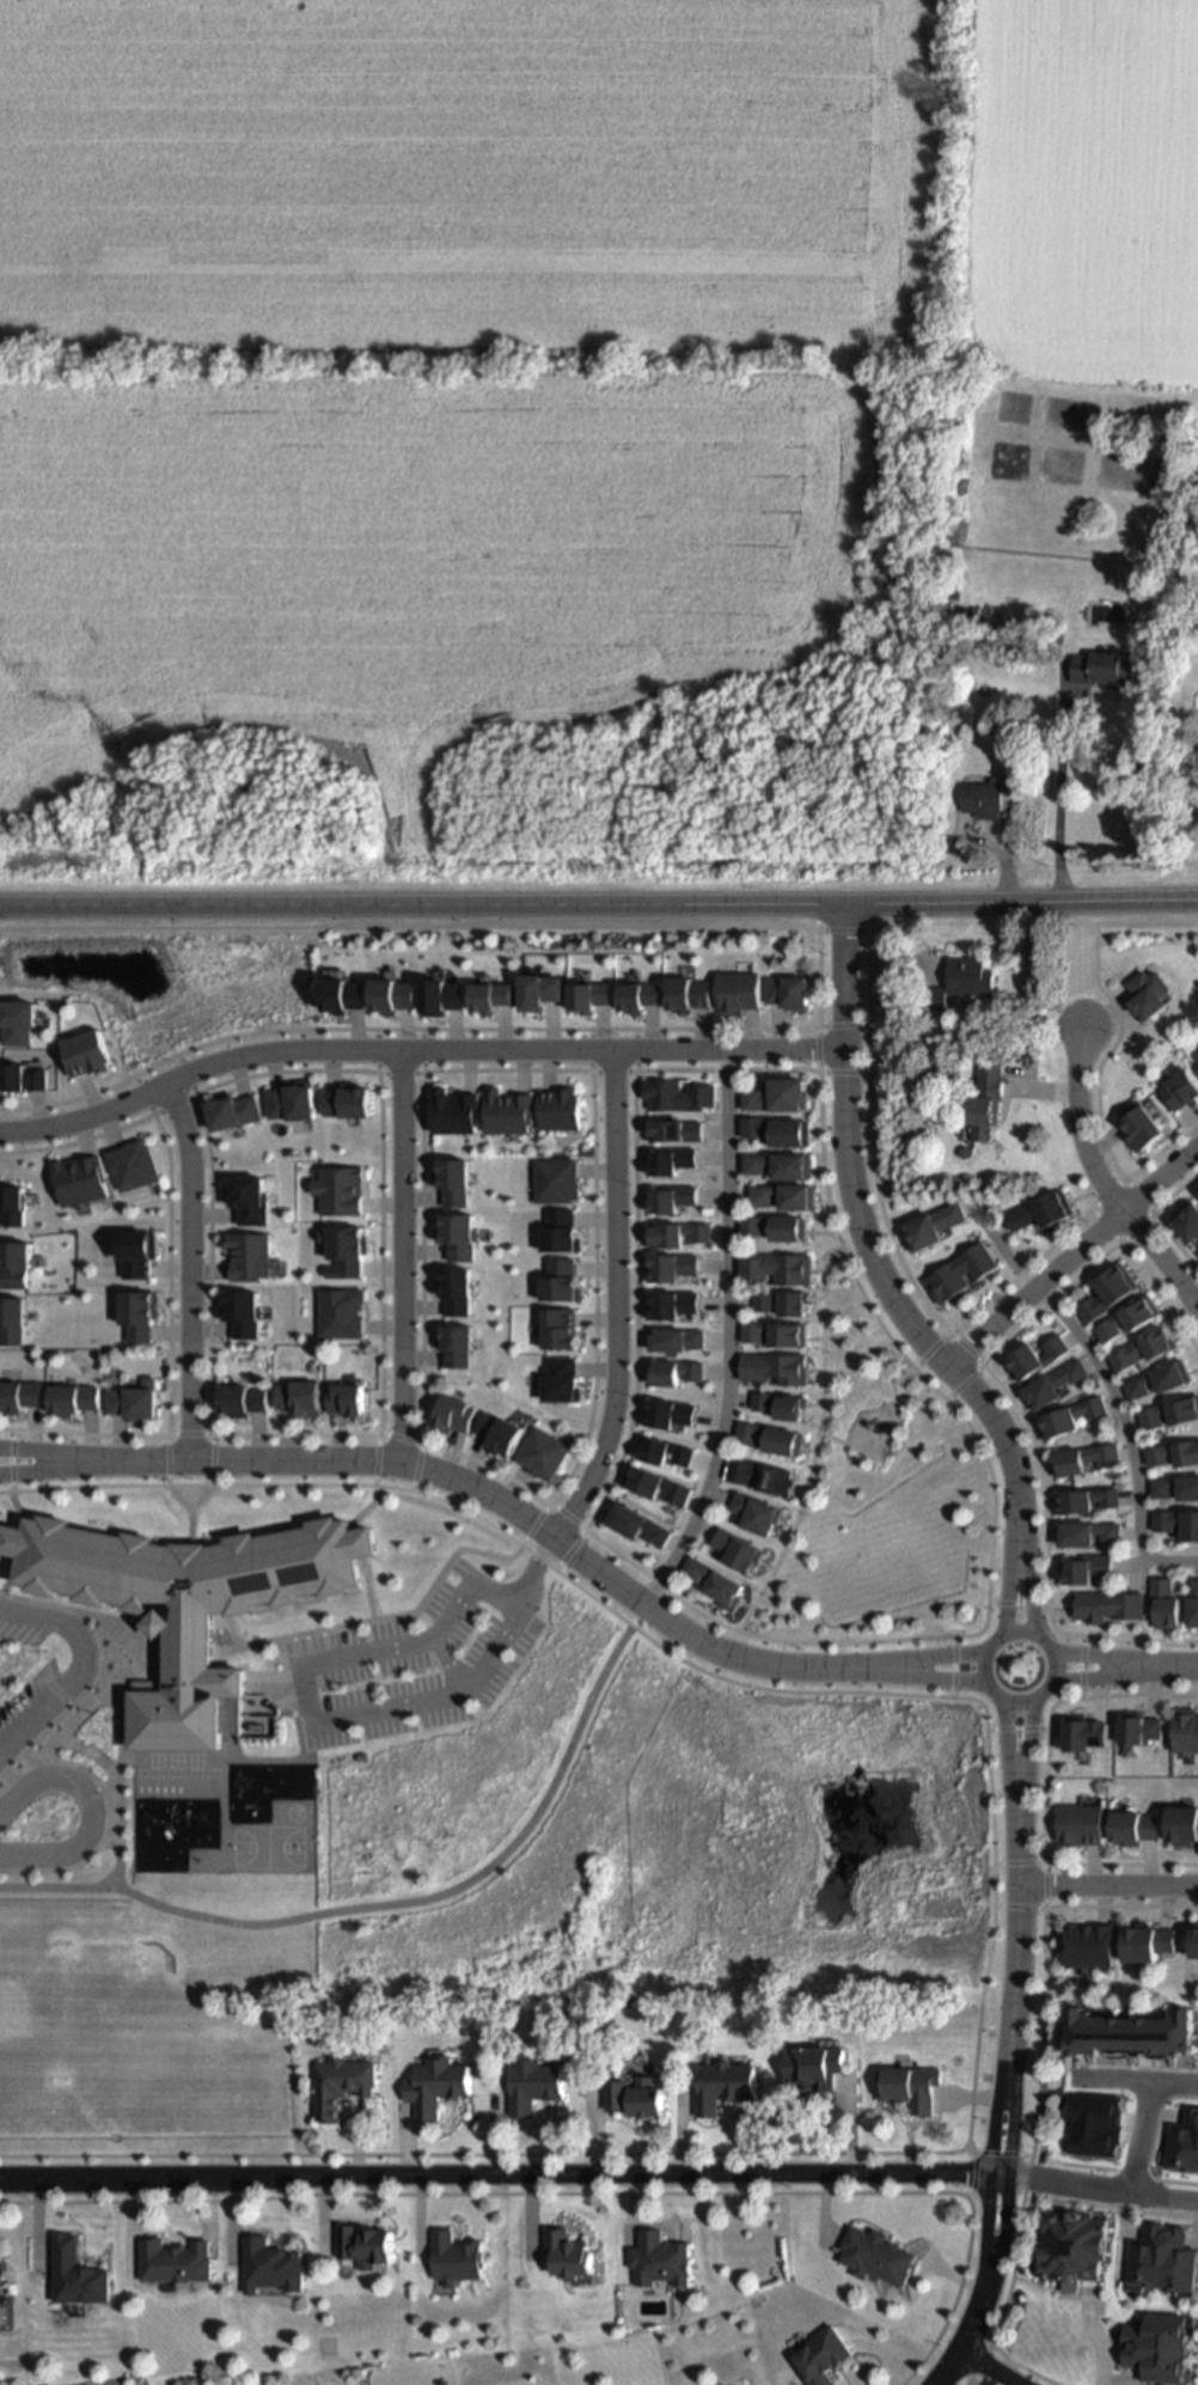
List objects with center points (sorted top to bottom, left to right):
crop: (650, 175)
building: (1102, 666)
road: (1057, 789)
building: (984, 797)
road: (599, 905)
road: (1096, 952)
building: (970, 976)
building: (788, 990)
building: (738, 992)
building: (1150, 993)
building: (935, 996)
road: (845, 1026)
road: (453, 1029)
road: (782, 1047)
road: (354, 1049)
road: (817, 1049)
road: (610, 1069)
road: (398, 1072)
road: (470, 1072)
road: (843, 1074)
building: (777, 1096)
building: (985, 1098)
road: (170, 1105)
building: (1141, 1126)
building: (777, 1130)
building: (778, 1165)
road: (1118, 1170)
road: (1099, 1184)
building: (783, 1196)
building: (1040, 1210)
road: (1150, 1219)
building: (1186, 1219)
building: (929, 1224)
building: (775, 1227)
road: (888, 1236)
building: (1197, 1249)
road: (397, 1254)
road: (1068, 1255)
road: (873, 1264)
building: (777, 1267)
road: (182, 1268)
building: (959, 1275)
road: (163, 1279)
building: (1107, 1292)
road: (1191, 1297)
road: (611, 1298)
building: (1129, 1318)
road: (726, 1334)
building: (775, 1334)
road: (928, 1349)
building: (1143, 1349)
road: (966, 1350)
building: (1035, 1358)
building: (774, 1368)
building: (1157, 1379)
building: (1053, 1383)
road: (960, 1386)
road: (1104, 1386)
building: (19, 1393)
road: (1003, 1397)
building: (239, 1399)
building: (346, 1399)
building: (71, 1401)
building: (132, 1401)
building: (1169, 1409)
building: (452, 1411)
building: (1069, 1416)
road: (377, 1417)
building: (770, 1433)
road: (184, 1434)
road: (399, 1440)
road: (817, 1442)
road: (888, 1445)
building: (542, 1450)
building: (1172, 1451)
road: (19, 1454)
building: (1083, 1457)
road: (19, 1466)
building: (740, 1472)
building: (777, 1482)
building: (1174, 1486)
building: (1083, 1496)
park: (880, 1499)
road: (501, 1501)
building: (757, 1508)
road: (569, 1518)
building: (1175, 1520)
building: (1087, 1531)
building: (738, 1545)
building: (1083, 1567)
building: (717, 1580)
building: (1159, 1600)
road: (1016, 1605)
building: (185, 1606)
road: (1007, 1606)
road: (1026, 1606)
building: (1107, 1608)
road: (930, 1636)
road: (1040, 1646)
road: (953, 1659)
road: (1075, 1659)
road: (1080, 1666)
road: (1149, 1666)
road: (79, 1667)
road: (954, 1667)
road: (306, 1675)
road: (955, 1677)
road: (1074, 1679)
road: (1004, 1727)
building: (1138, 1727)
road: (1026, 1728)
road: (1017, 1730)
building: (1185, 1730)
building: (1084, 1733)
road: (1044, 1787)
road: (82, 1803)
building: (1081, 1822)
building: (1182, 1824)
building: (1132, 1826)
park: (263, 1849)
road: (1017, 1864)
road: (112, 1866)
road: (1108, 1883)
road: (1044, 1885)
road: (385, 1907)
road: (1017, 1909)
building: (1196, 1940)
building: (1148, 1944)
building: (1089, 1946)
road: (1041, 1954)
road: (1013, 1965)
building: (1131, 2039)
building: (812, 2061)
building: (531, 2079)
building: (338, 2080)
building: (721, 2080)
building: (909, 2080)
building: (433, 2081)
road: (1136, 2081)
building: (634, 2090)
road: (1141, 2135)
road: (891, 2154)
road: (997, 2154)
road: (497, 2173)
road: (1096, 2184)
building: (363, 2239)
building: (1076, 2241)
building: (566, 2249)
building: (875, 2250)
building: (452, 2253)
building: (658, 2255)
building: (172, 2256)
building: (270, 2261)
building: (0, 2268)
building: (73, 2268)
road: (984, 2285)
building: (820, 2354)
road: (984, 2367)
road: (965, 2383)
building: (745, 2384)

